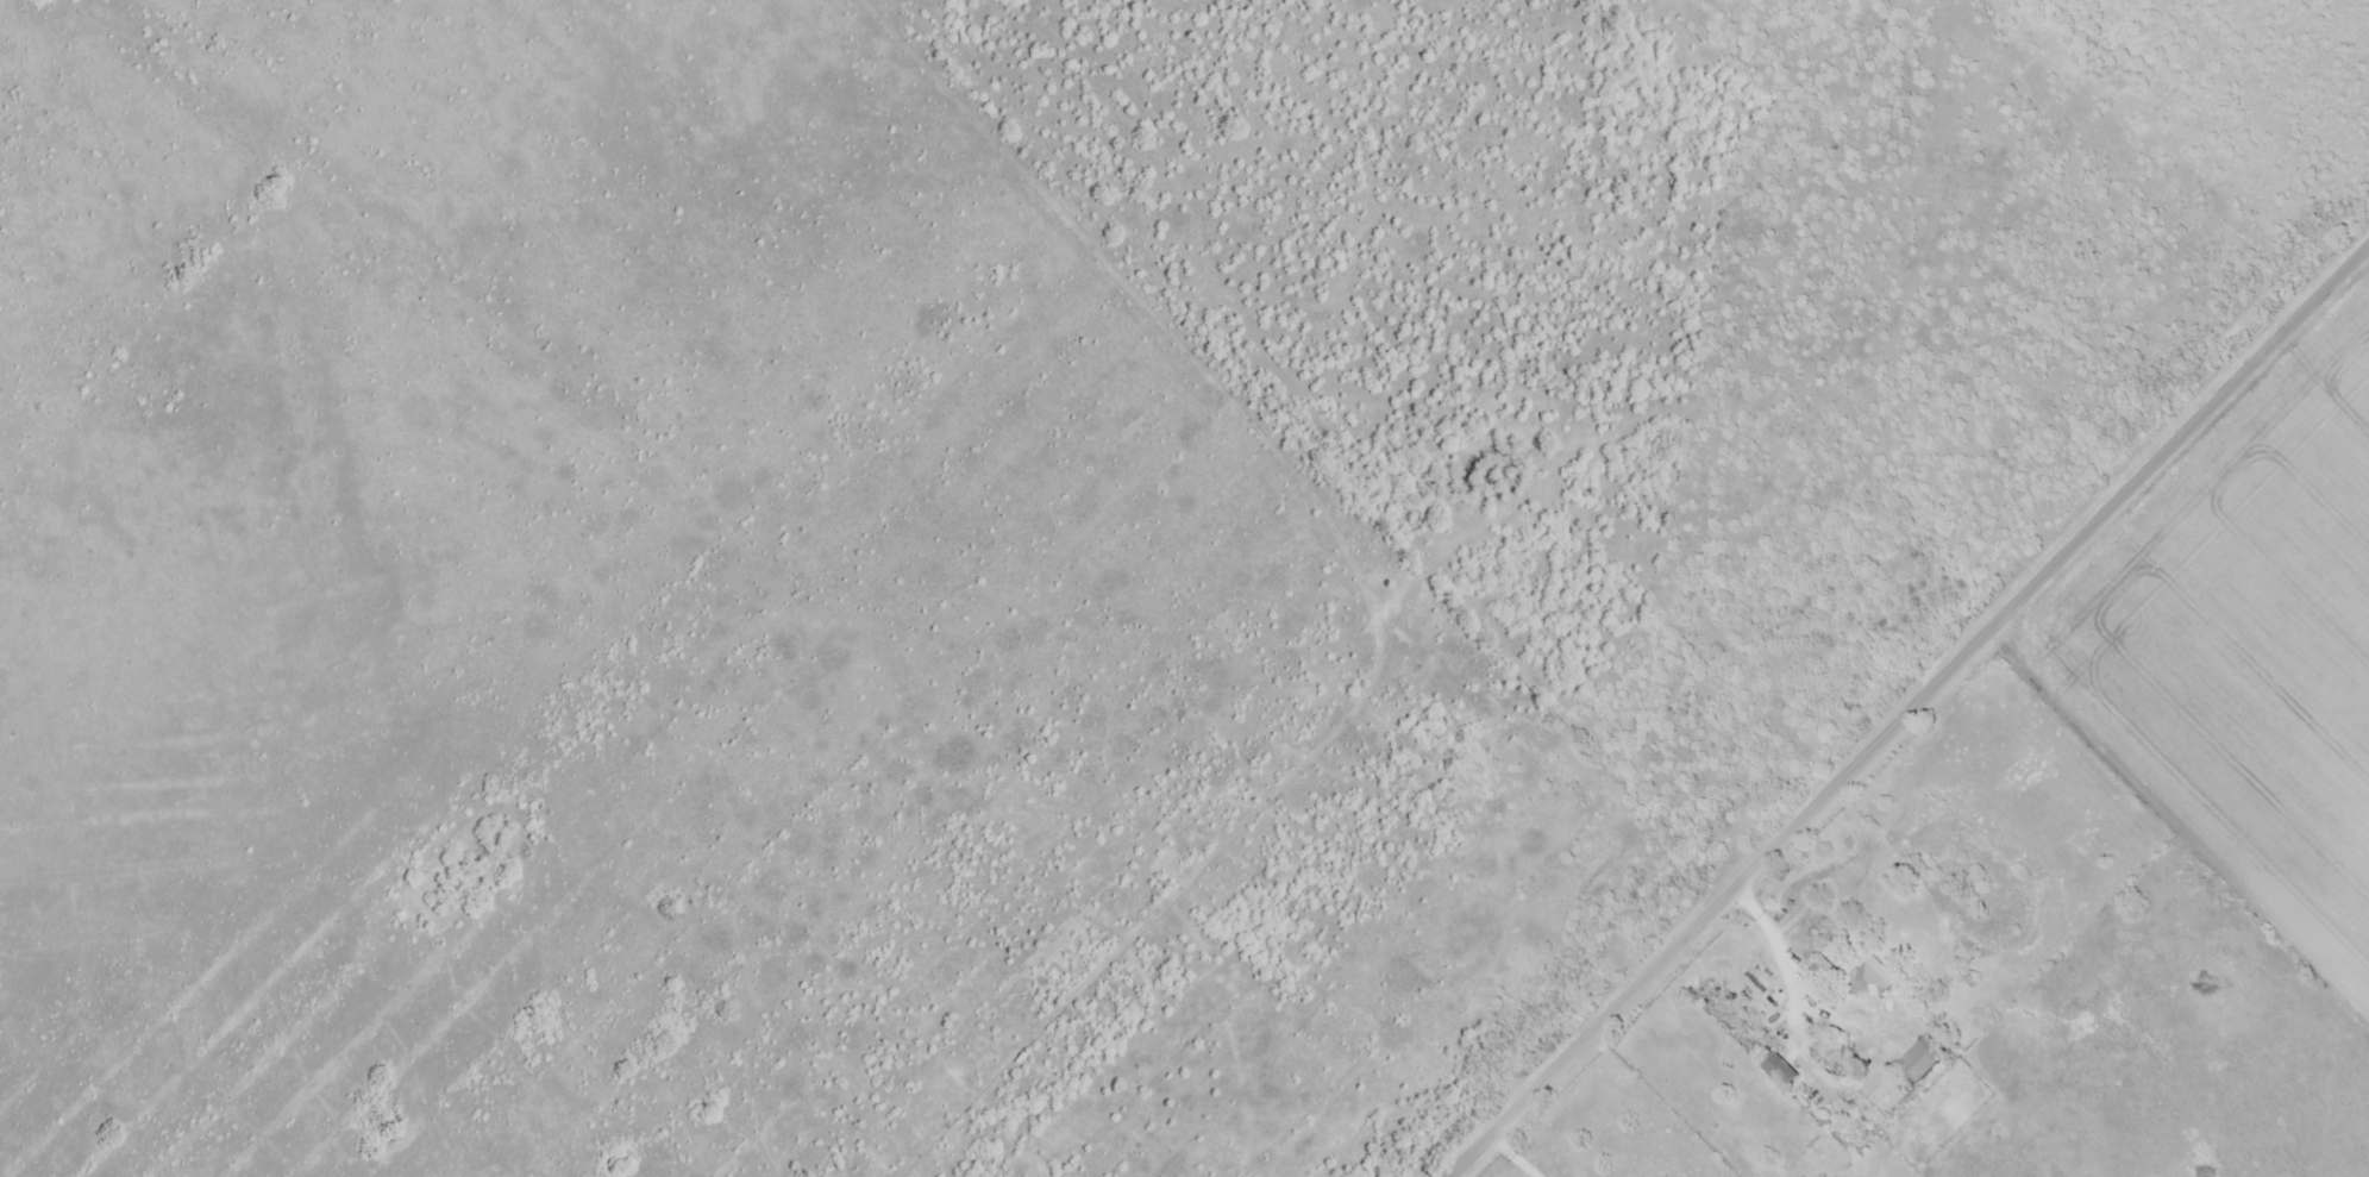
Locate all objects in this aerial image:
road: (1905, 707)
building: (1874, 979)
building: (1924, 1060)
building: (1779, 1064)

